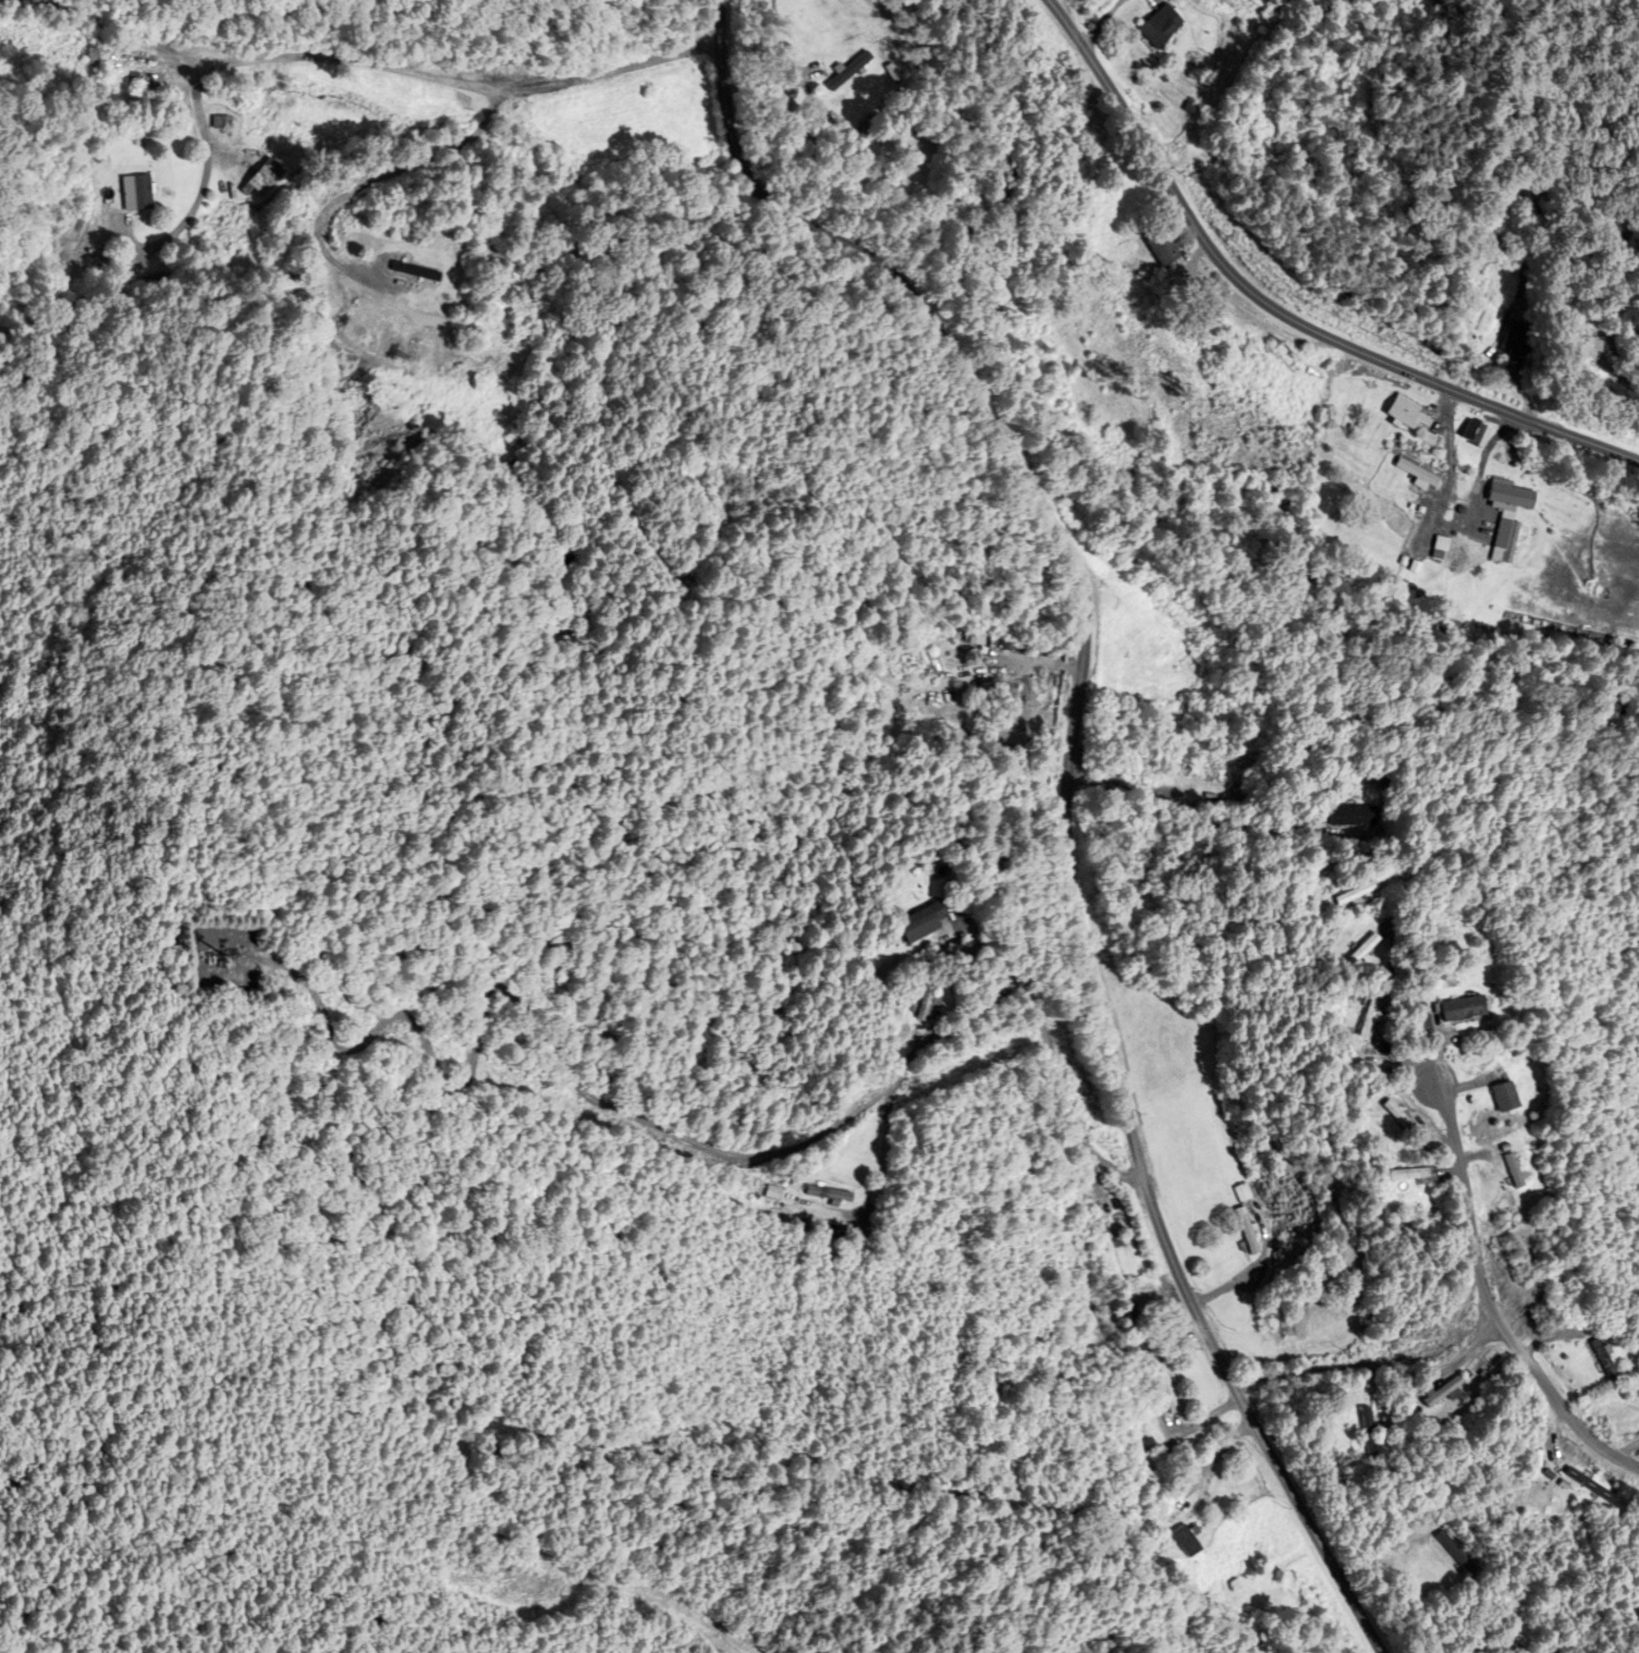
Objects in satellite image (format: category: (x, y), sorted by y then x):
road: (1103, 21)
building: (1195, 33)
building: (199, 50)
building: (93, 57)
road: (379, 64)
building: (871, 125)
road: (379, 175)
building: (267, 179)
road: (205, 180)
building: (139, 193)
building: (1170, 249)
building: (419, 272)
building: (154, 284)
road: (1612, 305)
road: (1279, 311)
building: (1519, 340)
building: (1411, 415)
building: (1480, 432)
building: (1417, 479)
building: (1514, 498)
building: (1506, 541)
building: (1443, 549)
building: (952, 645)
building: (917, 662)
road: (1069, 788)
building: (1353, 816)
building: (931, 923)
building: (1368, 948)
building: (934, 1004)
building: (1468, 1009)
road: (976, 1012)
building: (1370, 1019)
building: (1514, 1098)
building: (1519, 1172)
building: (1416, 1174)
building: (834, 1195)
building: (1249, 1236)
building: (1115, 1261)
building: (1568, 1294)
road: (1488, 1300)
building: (1140, 1328)
building: (1500, 1359)
building: (1610, 1361)
building: (1169, 1388)
building: (1451, 1392)
building: (1374, 1432)
building: (1392, 1432)
building: (1195, 1540)

